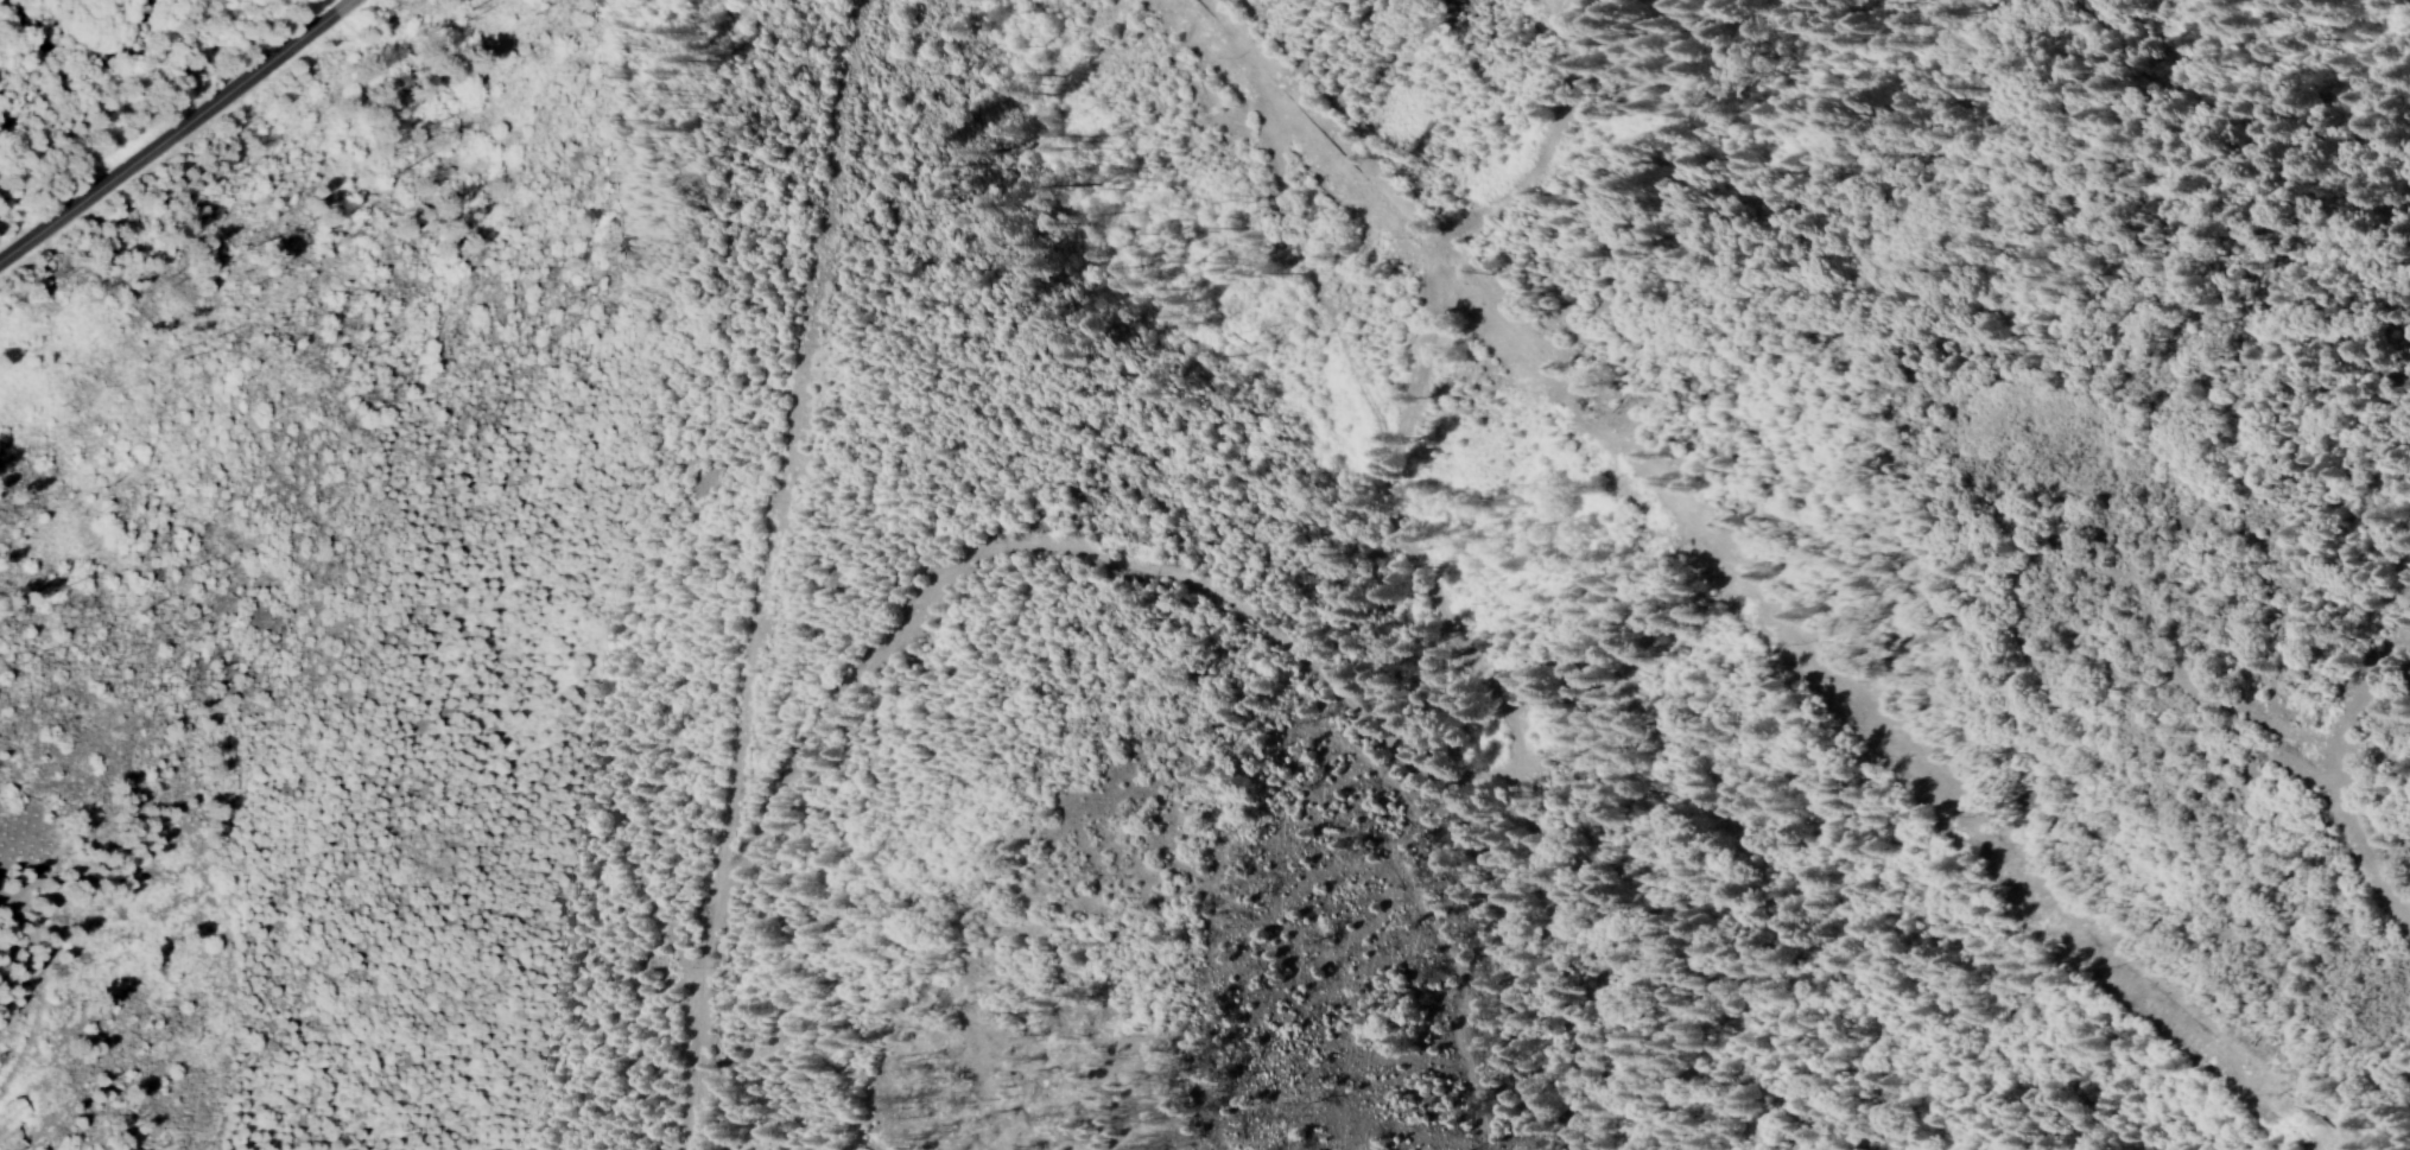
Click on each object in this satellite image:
river: (89, 61)
road: (180, 135)

